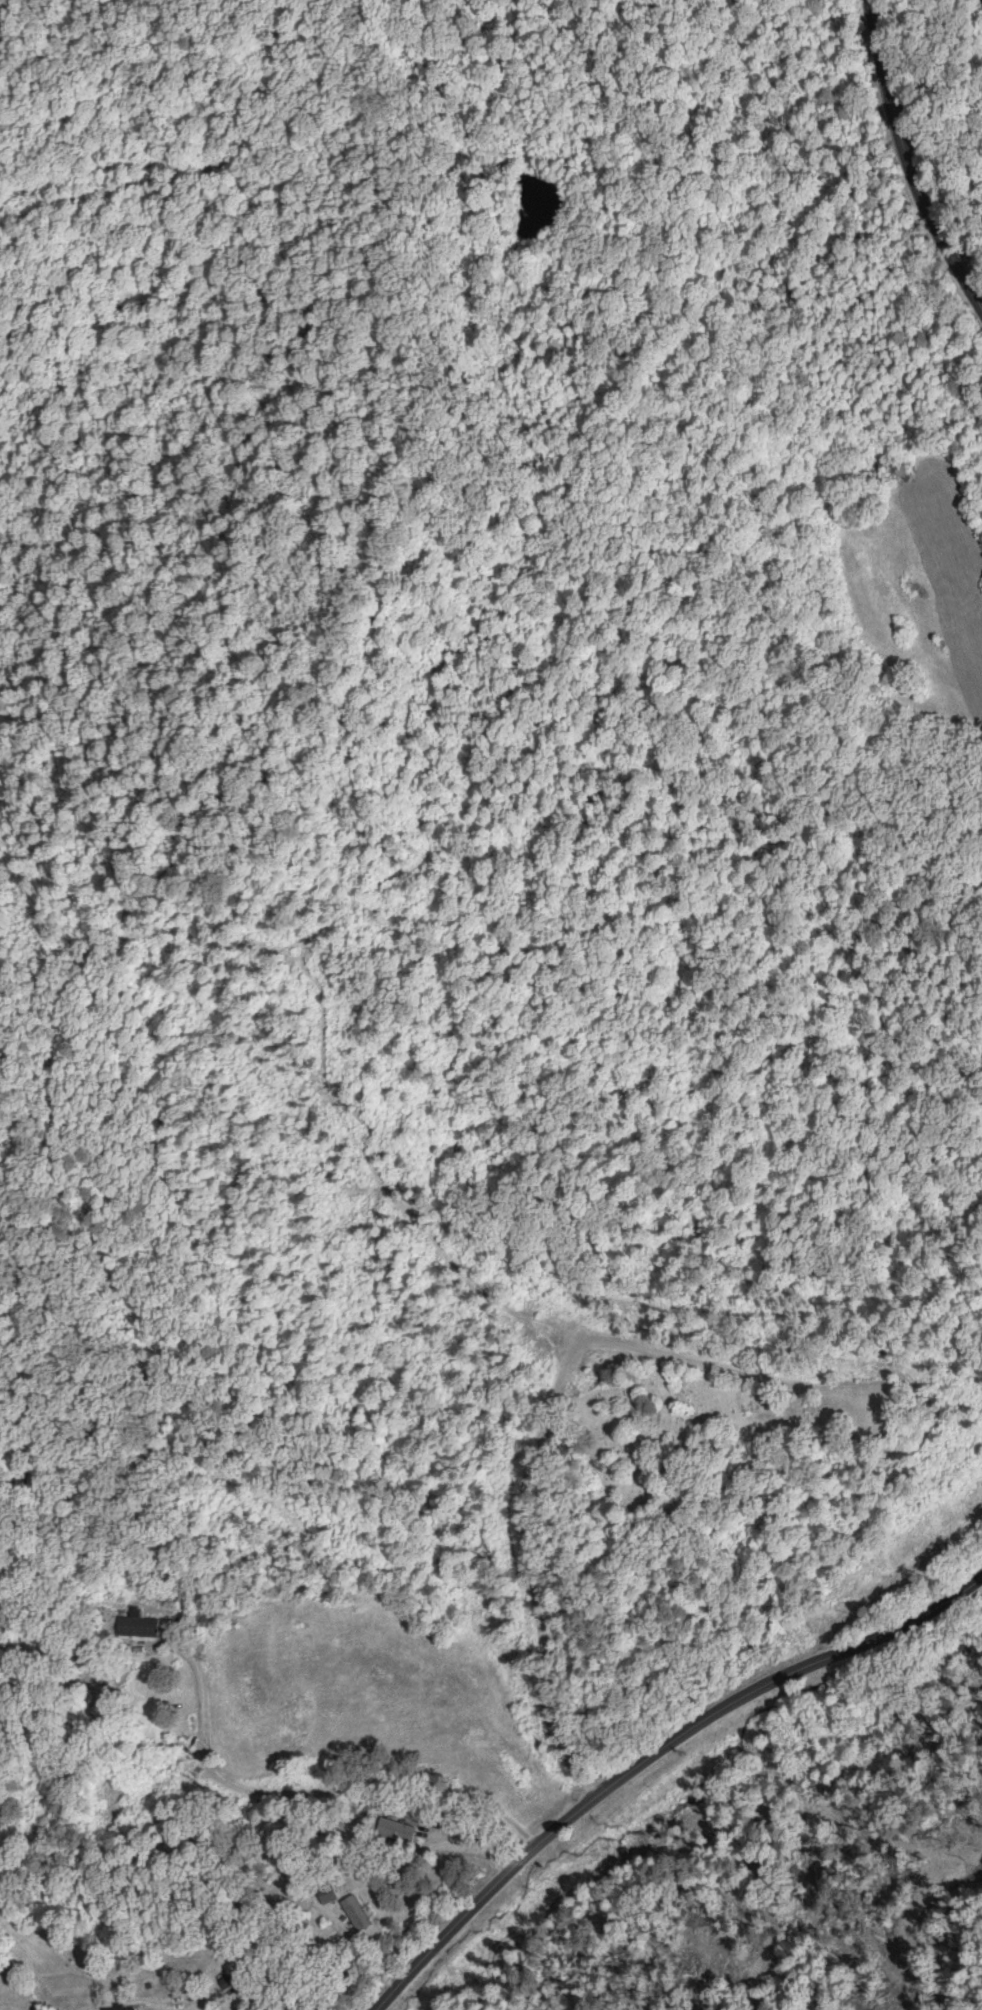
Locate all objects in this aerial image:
road: (908, 161)
park: (723, 1433)
road: (562, 1598)
road: (651, 1755)
building: (362, 1914)
building: (232, 1982)
building: (124, 2008)

